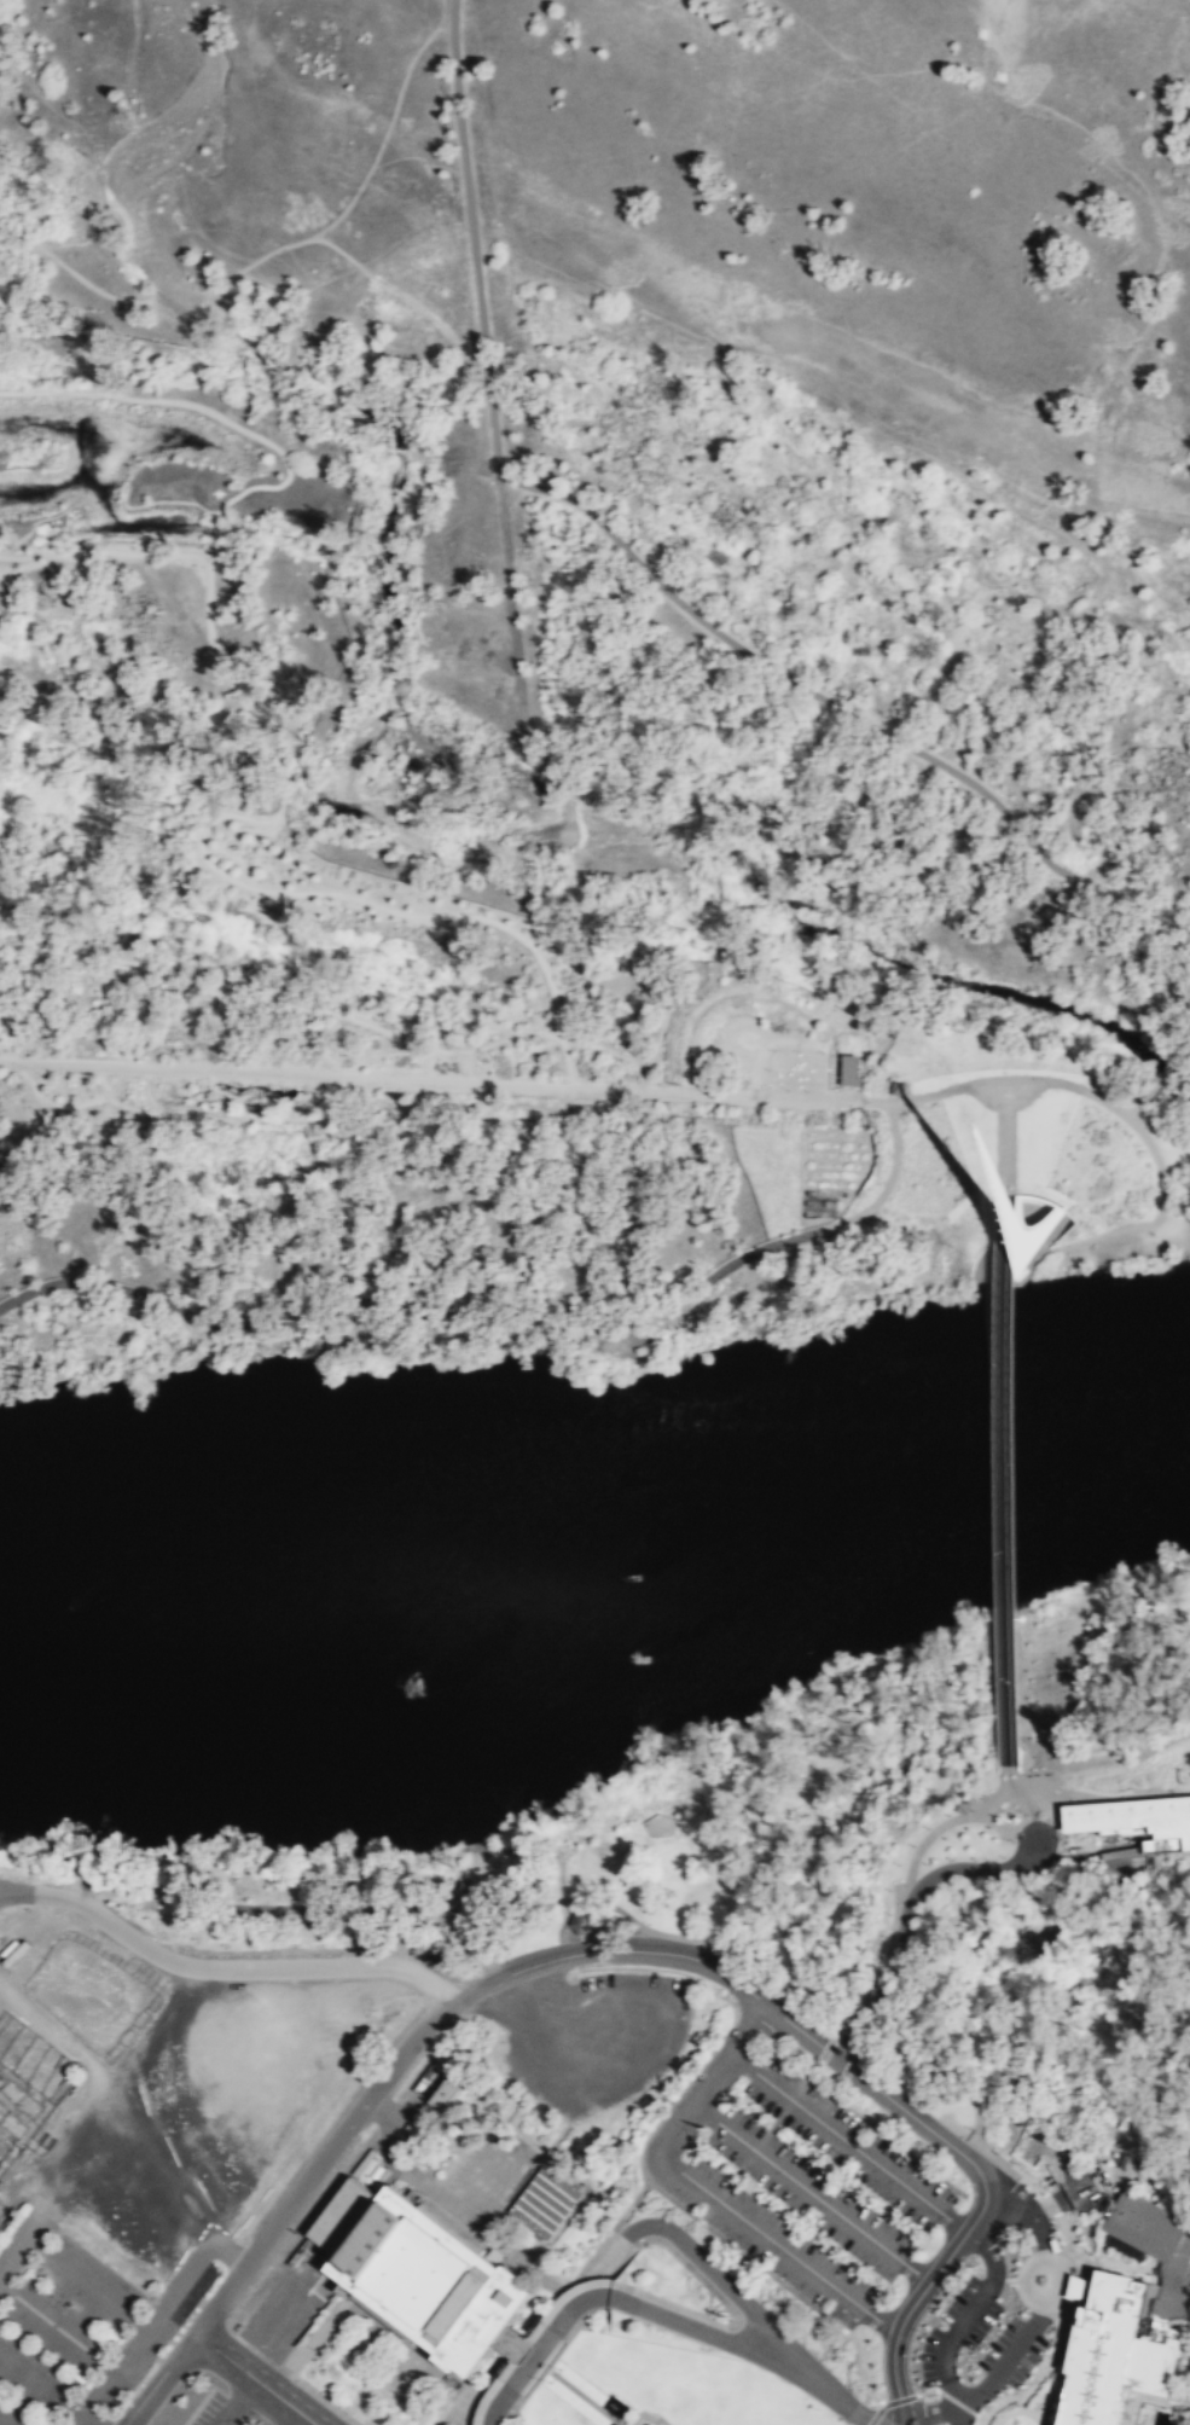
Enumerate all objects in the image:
road: (449, 4)
road: (402, 86)
road: (375, 170)
road: (268, 255)
road: (202, 406)
road: (178, 500)
road: (33, 523)
road: (215, 528)
road: (104, 551)
road: (54, 563)
road: (648, 573)
park: (594, 652)
road: (129, 718)
road: (279, 772)
road: (220, 848)
road: (237, 851)
road: (228, 852)
road: (436, 915)
road: (28, 934)
road: (75, 962)
road: (2, 963)
road: (98, 965)
road: (71, 976)
road: (79, 977)
road: (650, 977)
road: (64, 980)
road: (99, 980)
road: (121, 985)
road: (108, 988)
road: (17, 991)
road: (58, 991)
road: (93, 996)
road: (227, 999)
road: (77, 1000)
road: (33, 1002)
road: (92, 1005)
road: (283, 1016)
road: (115, 1017)
road: (179, 1023)
road: (227, 1027)
road: (324, 1028)
road: (518, 1033)
road: (546, 1033)
road: (25, 1034)
road: (283, 1034)
road: (562, 1040)
road: (597, 1040)
street lamp: (772, 1049)
street lamp: (797, 1050)
street lamp: (822, 1051)
road: (412, 1054)
road: (420, 1054)
road: (0, 1055)
road: (373, 1056)
road: (512, 1060)
road: (469, 1066)
street lamp: (767, 1068)
building: (846, 1071)
road: (1166, 1071)
road: (639, 1073)
road: (980, 1075)
road: (101, 1077)
road: (383, 1079)
road: (79, 1081)
road: (58, 1085)
building: (895, 1087)
street lamp: (786, 1089)
street lamp: (806, 1090)
road: (222, 1091)
road: (66, 1093)
road: (312, 1097)
road: (828, 1100)
road: (324, 1103)
road: (66, 1106)
fountain: (257, 1109)
road: (484, 1109)
road: (1134, 1113)
road: (295, 1118)
road: (569, 1121)
road: (830, 1127)
road: (1003, 1136)
road: (865, 1165)
road: (802, 1171)
road: (826, 1188)
road: (994, 1191)
road: (1153, 1217)
road: (1174, 1218)
building: (1018, 1236)
road: (617, 1313)
road: (1004, 1479)
river: (597, 1541)
road: (1078, 1631)
road: (1046, 1661)
road: (1040, 1679)
road: (1050, 1688)
road: (1047, 1748)
road: (1035, 1752)
road: (1103, 1769)
road: (1006, 1781)
road: (994, 1802)
road: (1006, 1802)
building: (962, 1805)
road: (997, 1808)
road: (1016, 1808)
road: (1011, 1810)
street lamp: (948, 1814)
building: (1136, 1820)
street lamp: (928, 1827)
park: (661, 1837)
street lamp: (912, 1845)
park: (997, 1851)
street lamp: (1003, 1856)
street lamp: (950, 1858)
street lamp: (974, 1860)
street lamp: (899, 1863)
road: (11, 1887)
road: (547, 1895)
road: (893, 1905)
road: (348, 1909)
parking lot: (393, 1911)
street lamp: (889, 1913)
road: (907, 1913)
building: (582, 1921)
road: (887, 1924)
street lamp: (886, 1936)
road: (472, 1945)
road: (883, 1948)
road: (727, 1951)
street lamp: (878, 1960)
road: (222, 1966)
road: (870, 1968)
road: (873, 1973)
road: (424, 2027)
parking lot: (588, 2035)
stadium: (62, 2036)
road: (861, 2047)
road: (824, 2049)
road: (634, 2064)
road: (848, 2065)
road: (812, 2071)
road: (801, 2072)
road: (956, 2082)
road: (835, 2085)
building: (442, 2088)
road: (876, 2088)
street lamp: (968, 2125)
road: (848, 2142)
road: (895, 2143)
road: (399, 2166)
parking lot: (791, 2177)
parking lot: (474, 2181)
road: (1180, 2185)
road: (702, 2188)
road: (811, 2193)
road: (1167, 2201)
road: (1180, 2201)
building: (545, 2203)
street lamp: (1051, 2218)
road: (1040, 2232)
building: (1154, 2243)
road: (988, 2251)
road: (700, 2262)
road: (70, 2266)
road: (195, 2268)
building: (418, 2274)
street lamp: (1005, 2284)
road: (921, 2292)
street lamp: (953, 2292)
road: (1073, 2303)
road: (969, 2311)
street lamp: (993, 2322)
parking lot: (86, 2324)
road: (59, 2330)
street lamp: (923, 2332)
road: (542, 2344)
street lamp: (1049, 2344)
building: (1109, 2349)
road: (762, 2351)
road: (944, 2360)
road: (1000, 2368)
road: (116, 2374)
road: (158, 2378)
road: (255, 2378)
street lamp: (921, 2385)
road: (42, 2388)
road: (925, 2390)
road: (948, 2392)
road: (579, 2394)
street lamp: (994, 2395)
road: (954, 2401)
road: (238, 2402)
fountain: (613, 2406)
parking lot: (230, 2411)
road: (642, 2412)
road: (927, 2413)
road: (954, 2415)
road: (980, 2415)
road: (297, 2419)
road: (658, 2419)
road: (983, 2420)
road: (2, 2423)
road: (902, 2423)
park: (1189, 2424)

